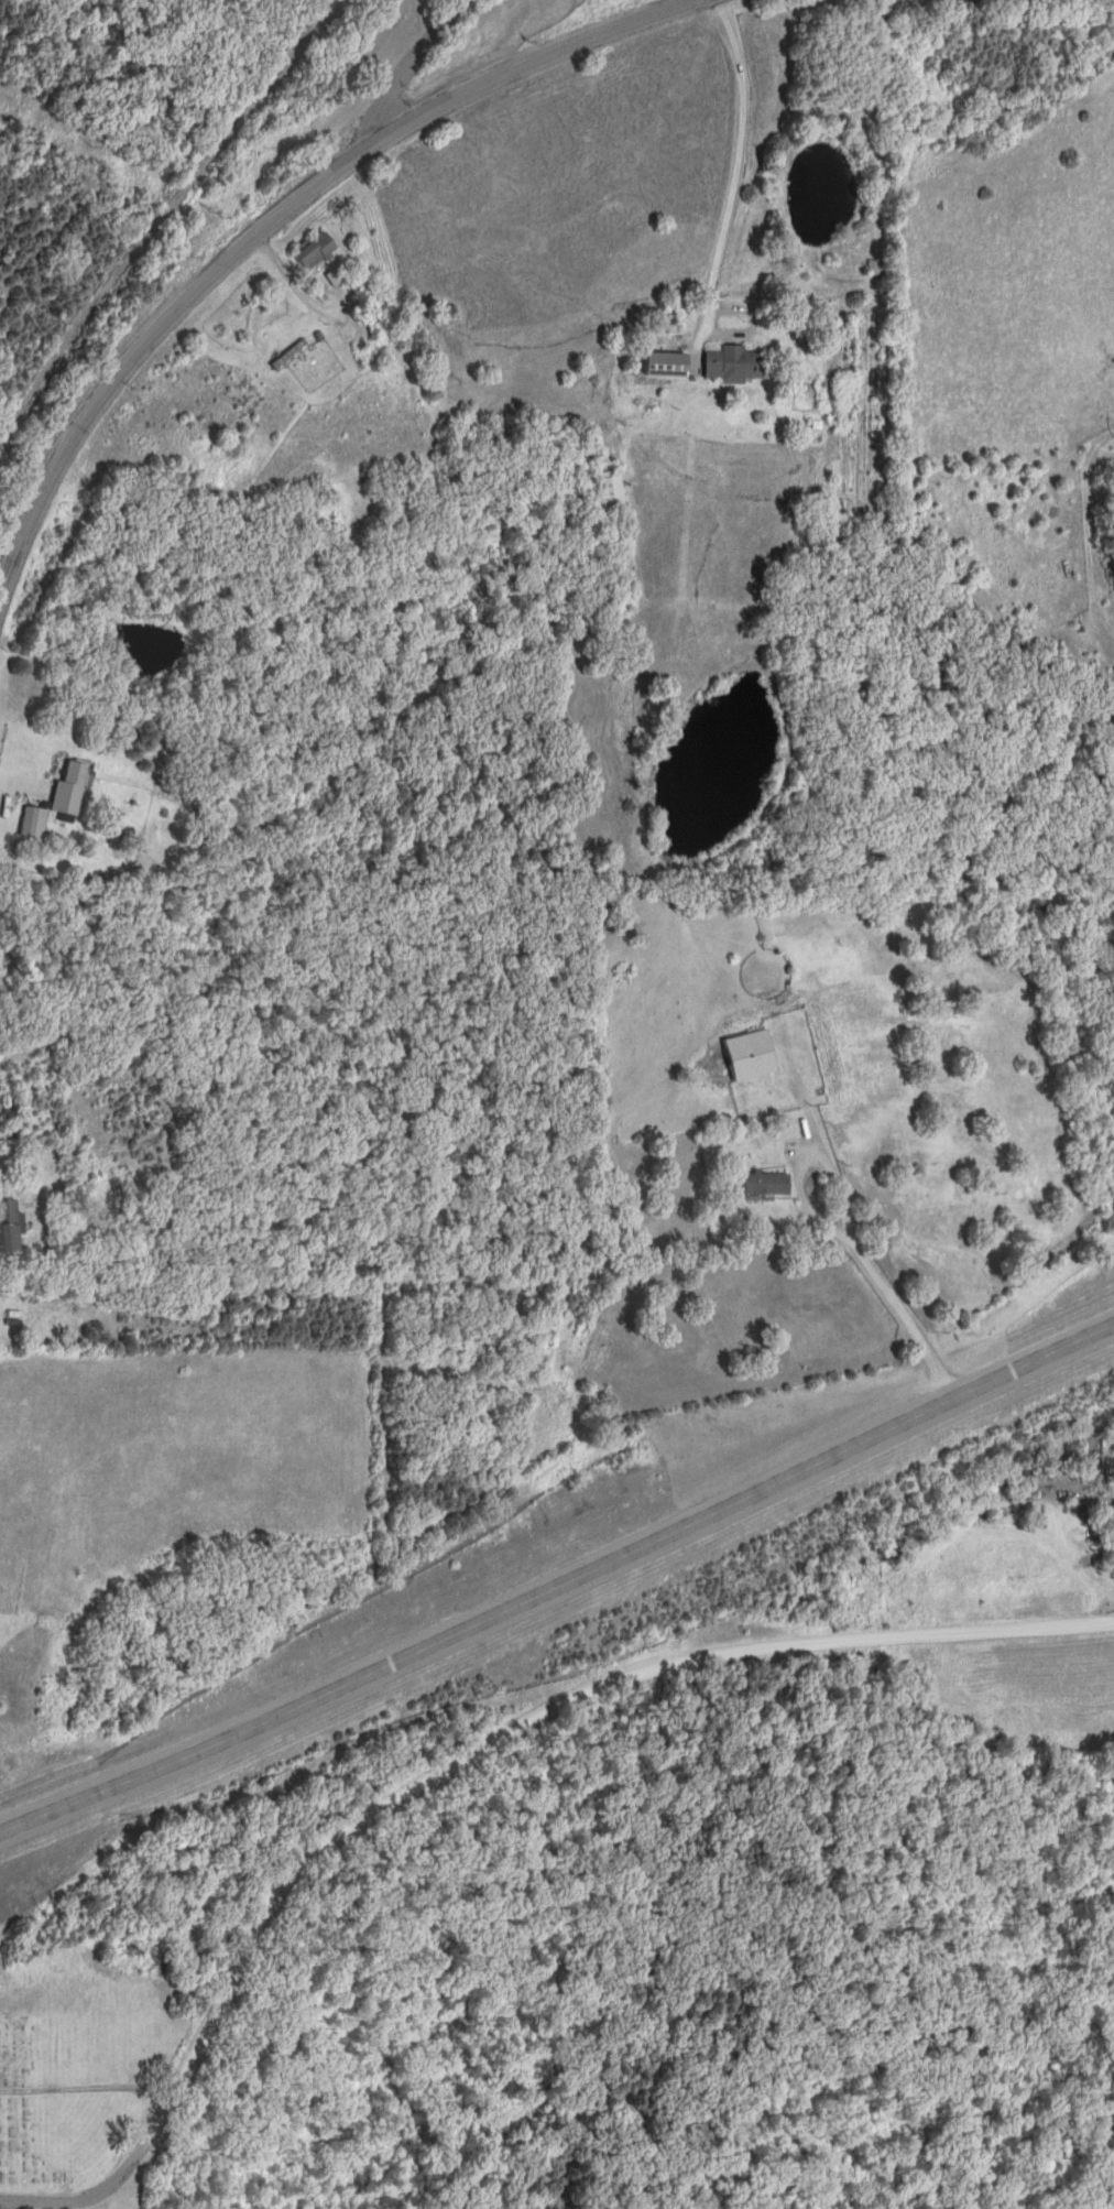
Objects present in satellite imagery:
road: (411, 68)
road: (736, 167)
railway: (166, 216)
road: (278, 216)
building: (316, 252)
building: (378, 312)
building: (290, 357)
building: (733, 366)
building: (610, 491)
building: (69, 788)
building: (33, 825)
building: (750, 1057)
building: (766, 1185)
building: (8, 1228)
road: (886, 1287)
road: (557, 1575)
road: (463, 1758)
park: (72, 2099)
road: (20, 2207)

